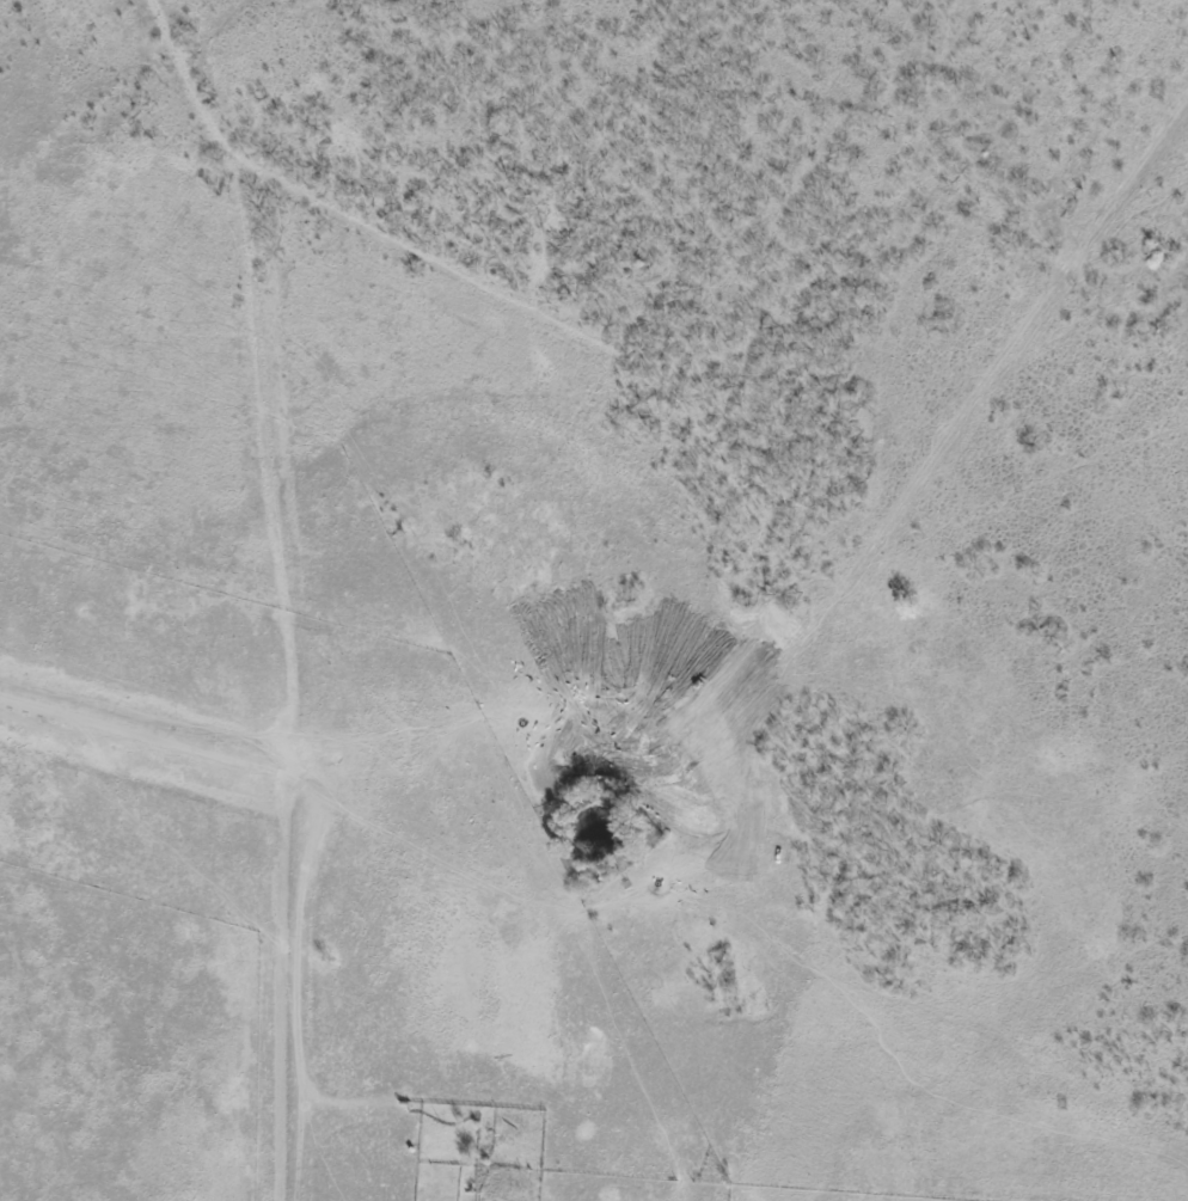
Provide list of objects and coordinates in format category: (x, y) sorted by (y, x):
road: (314, 834)

